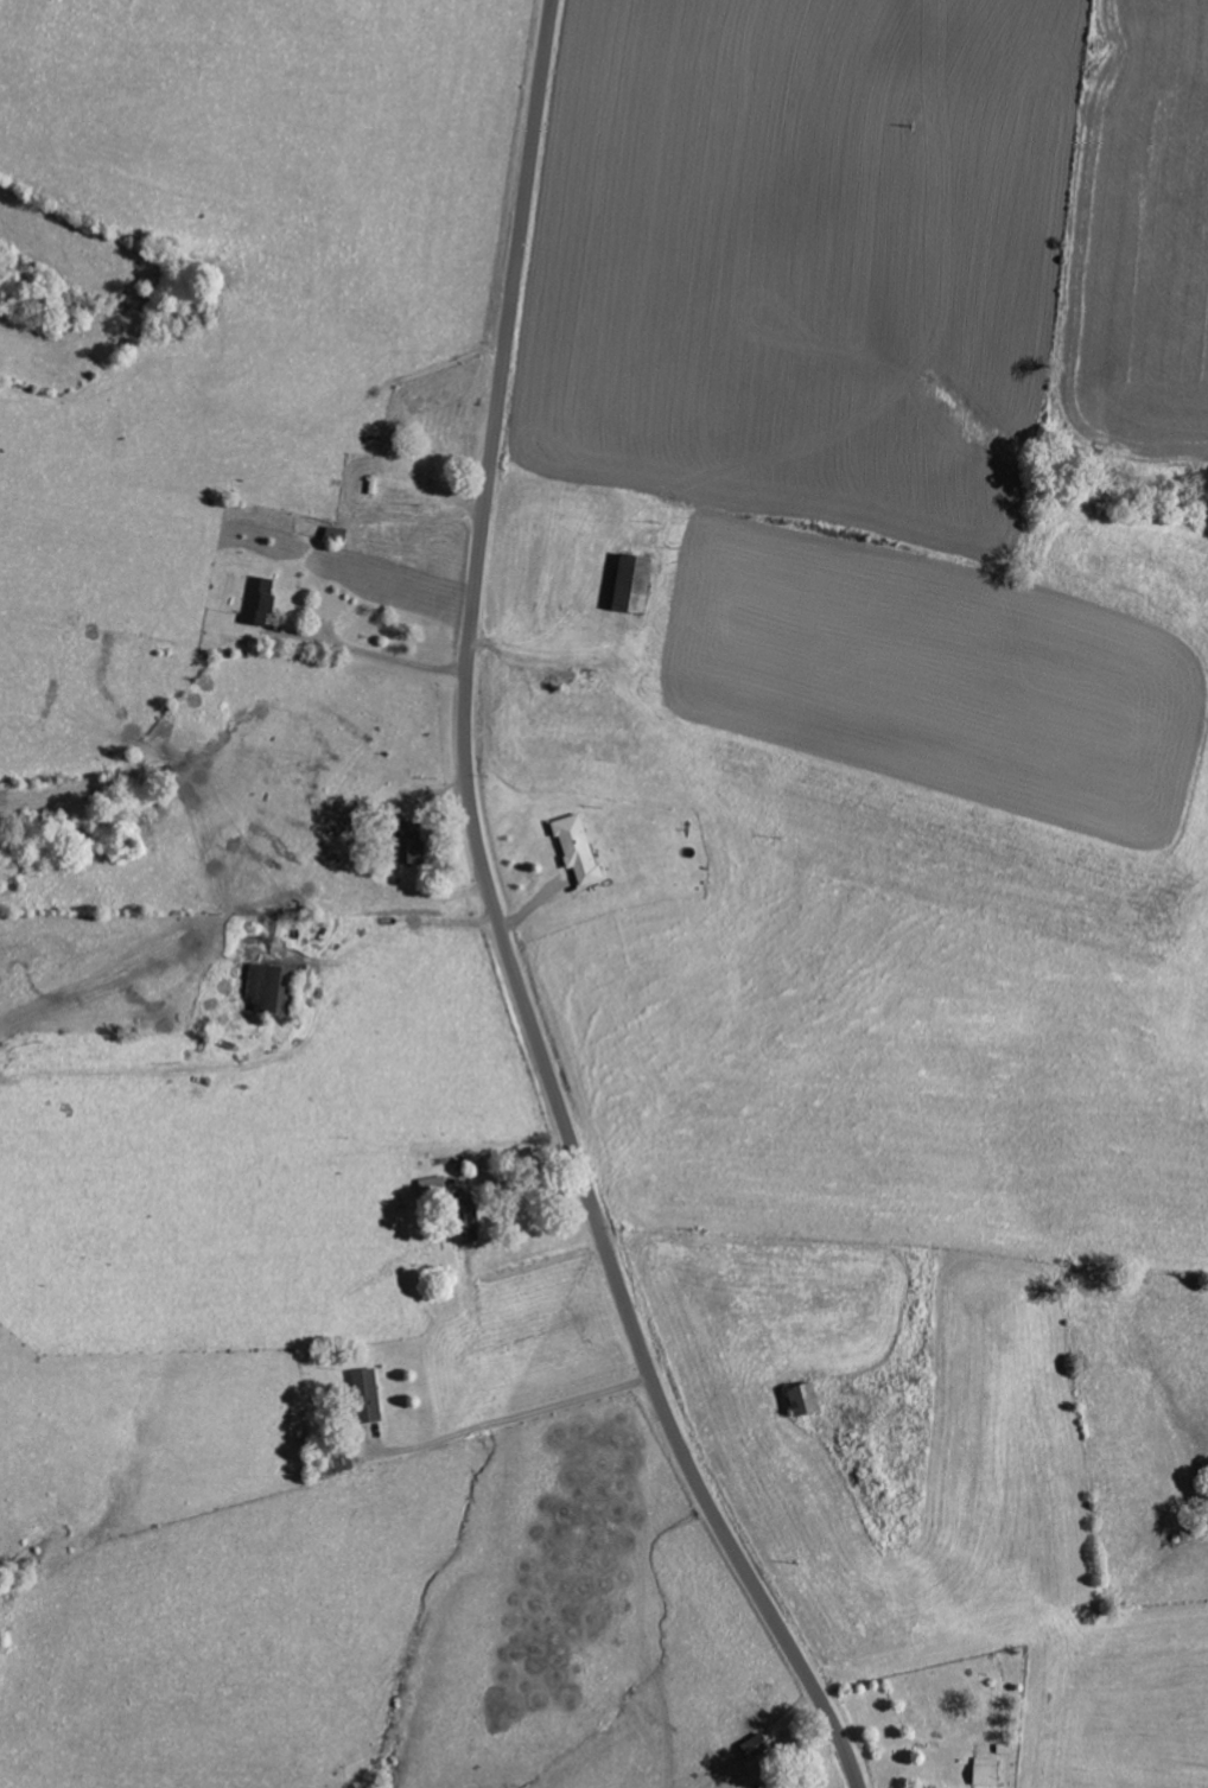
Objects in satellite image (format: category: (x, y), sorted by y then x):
road: (247, 426)
building: (638, 583)
building: (259, 600)
building: (580, 847)
road: (502, 927)
building: (433, 1185)
building: (808, 1398)
building: (988, 1770)

